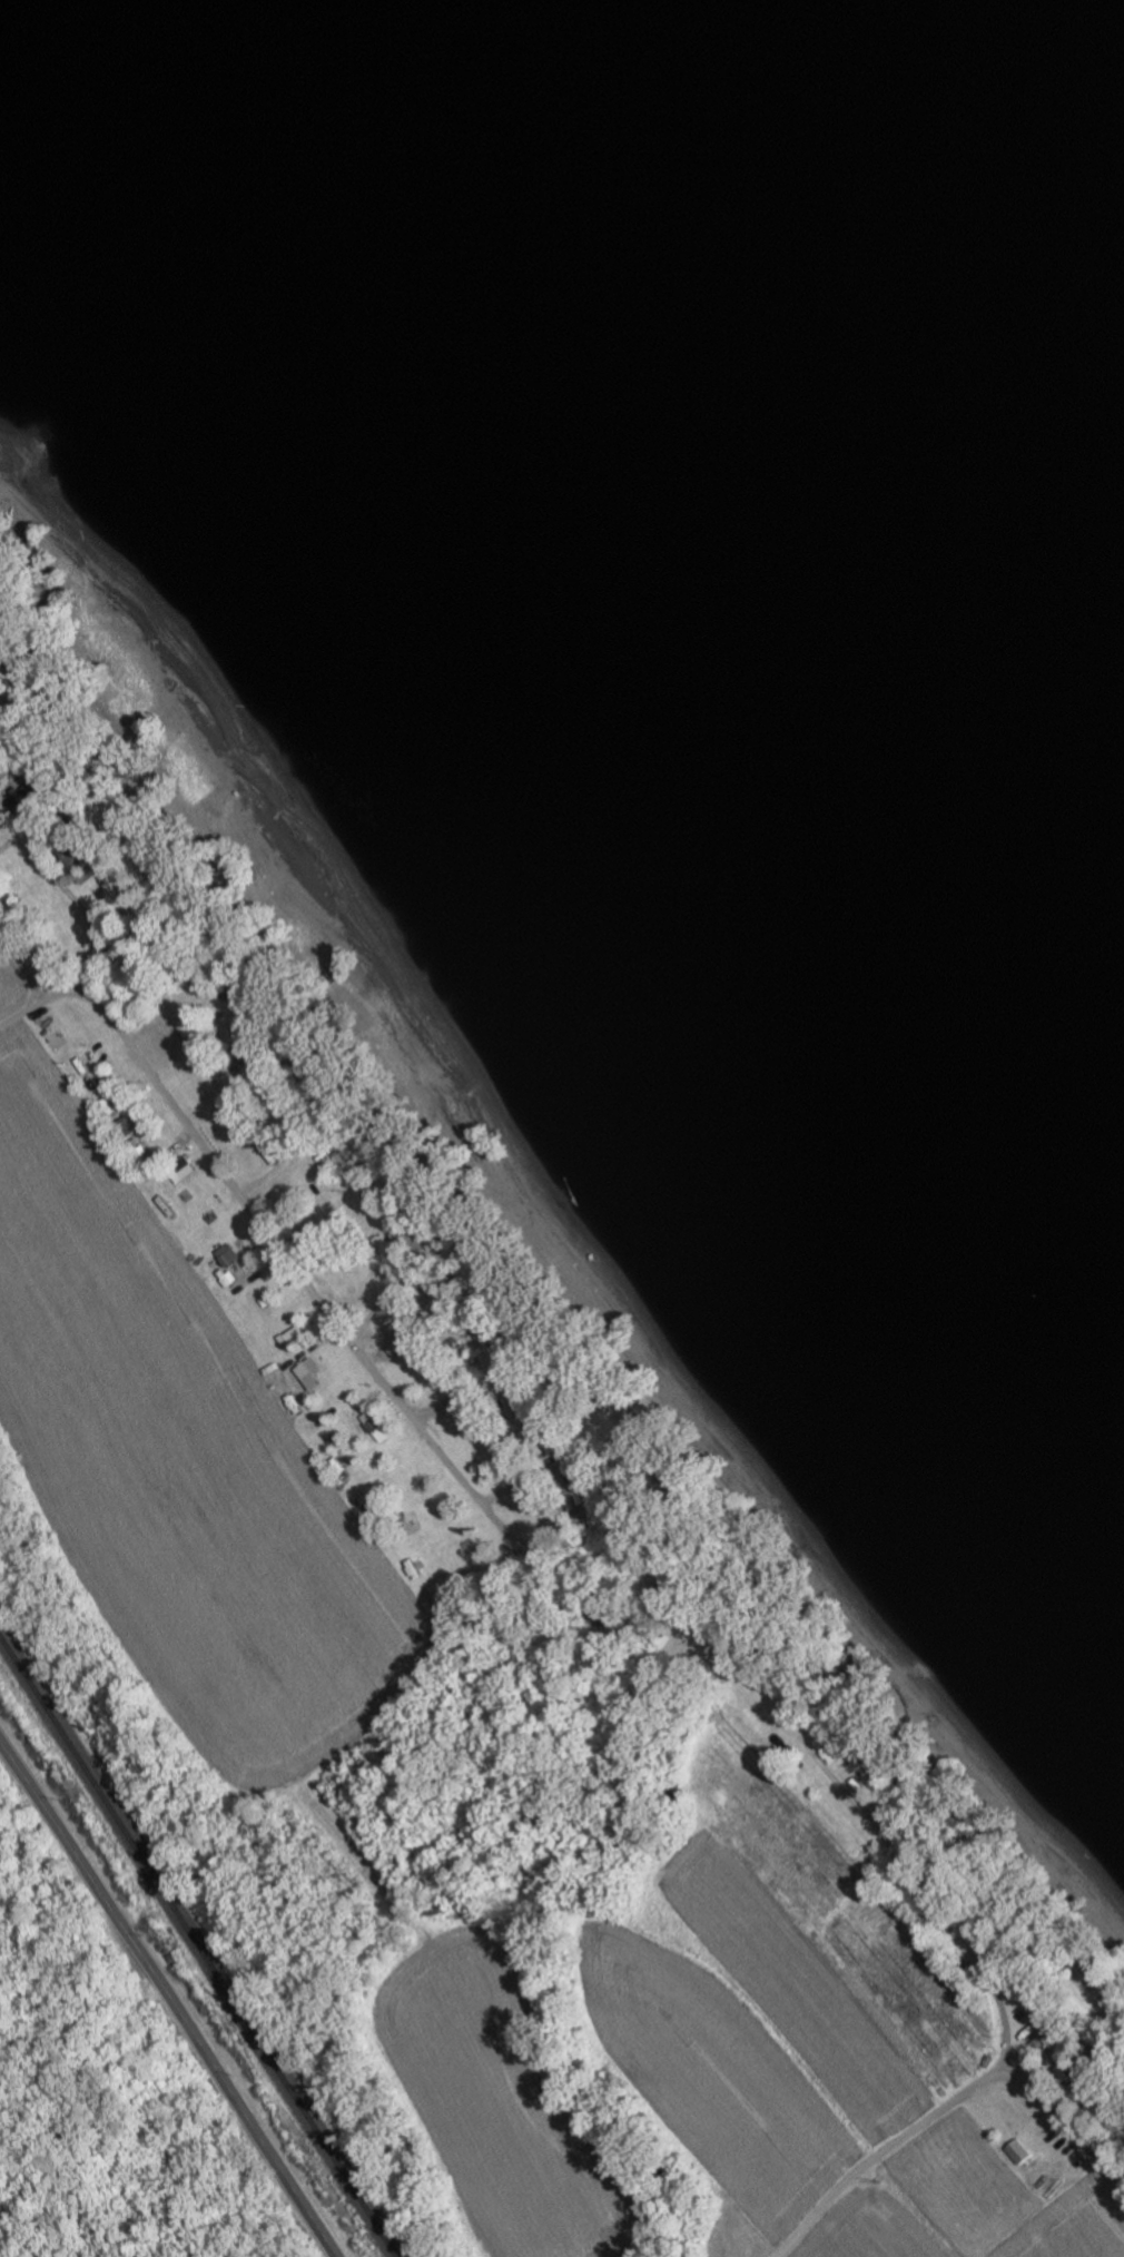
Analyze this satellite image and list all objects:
river: (645, 541)
road: (21, 964)
road: (259, 1209)
railway: (198, 1948)
road: (169, 1997)
road: (949, 2107)

